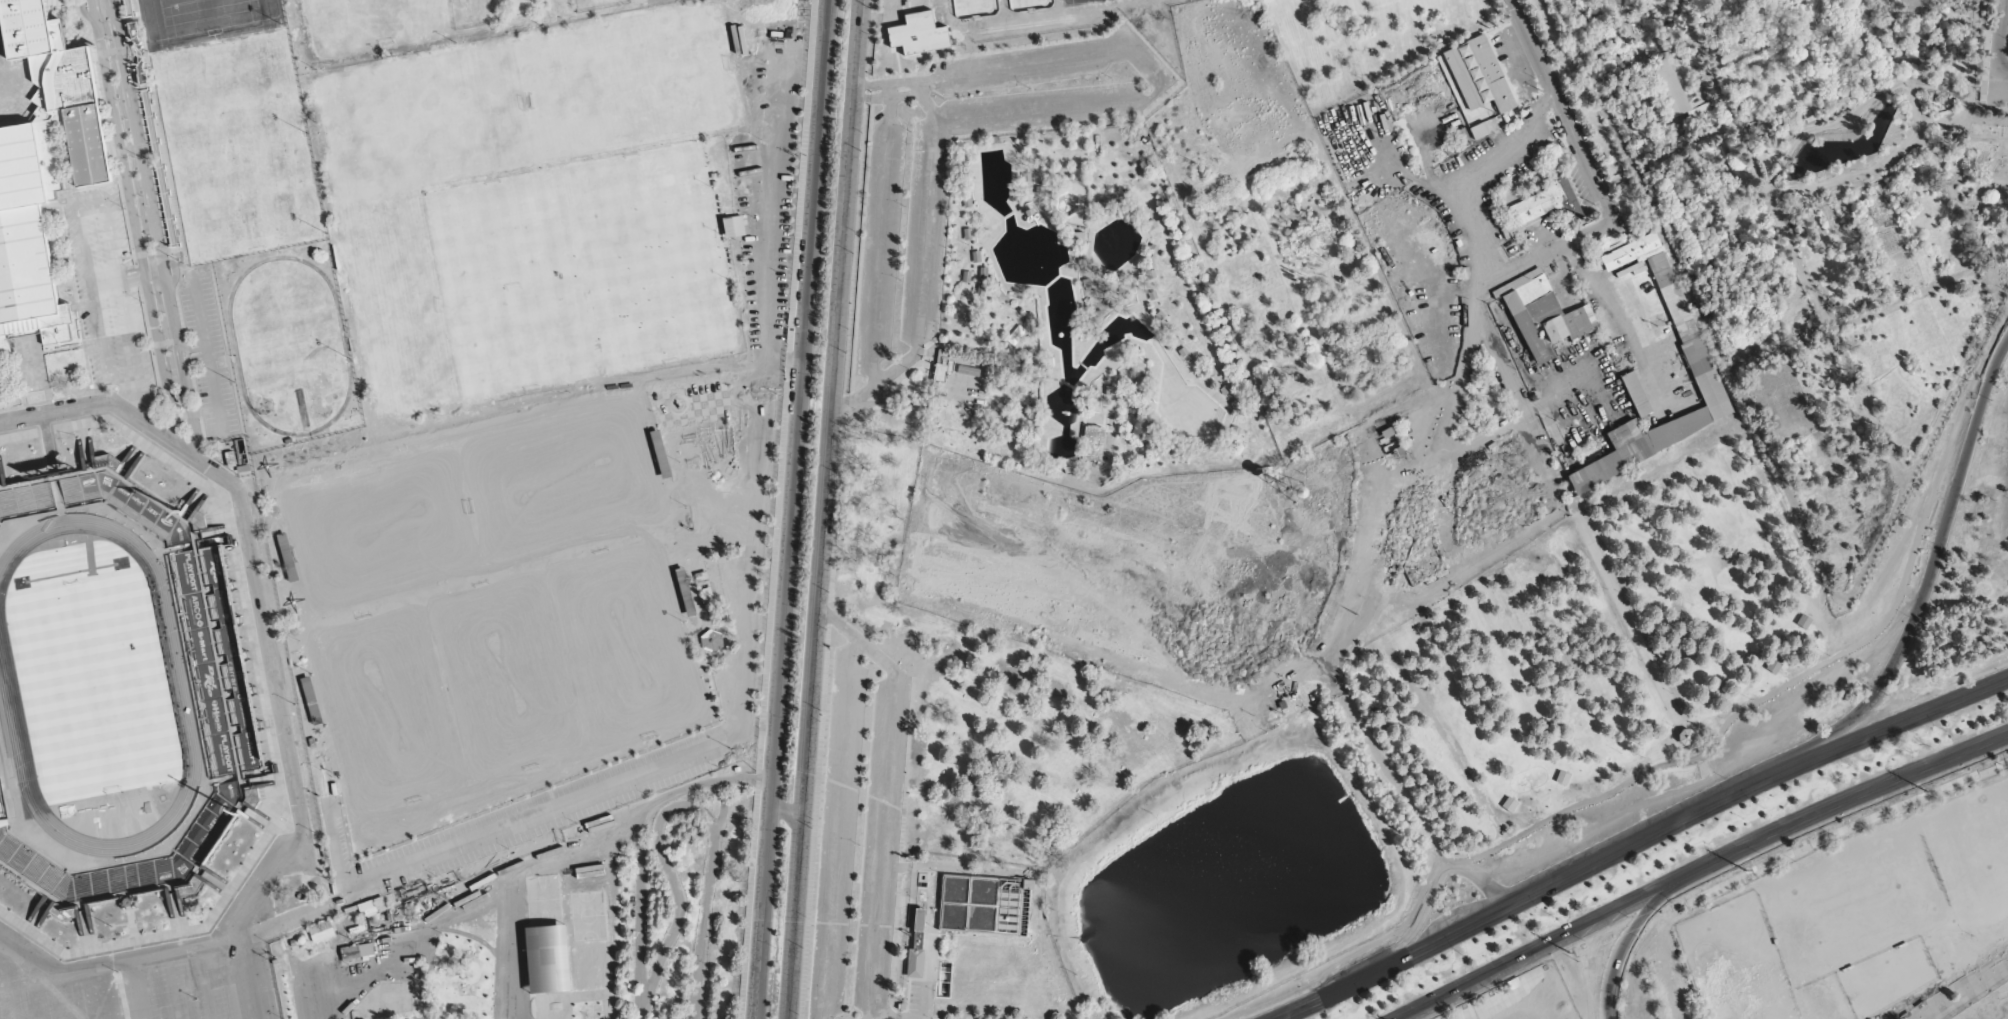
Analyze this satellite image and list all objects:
road: (107, 1)
road: (84, 14)
park: (201, 20)
park: (370, 21)
park: (632, 77)
building: (58, 92)
park: (422, 115)
park: (237, 150)
parking lot: (770, 165)
road: (131, 220)
building: (27, 227)
building: (728, 227)
road: (154, 230)
road: (113, 234)
road: (79, 238)
parking lot: (905, 238)
park: (655, 256)
road: (175, 273)
road: (125, 280)
park: (510, 284)
park: (393, 301)
track: (285, 346)
road: (189, 349)
road: (188, 355)
parking lot: (202, 357)
road: (203, 357)
road: (191, 359)
road: (122, 376)
road: (86, 450)
road: (129, 457)
park: (1377, 462)
park: (566, 483)
park: (382, 532)
park: (624, 644)
park: (1589, 646)
building: (209, 656)
park: (506, 676)
park: (89, 679)
track: (92, 684)
stadium: (118, 693)
road: (265, 710)
park: (386, 711)
road: (278, 714)
parking lot: (863, 836)
road: (1638, 844)
road: (1698, 868)
park: (548, 956)
parking lot: (1659, 984)
parking lot: (161, 994)

